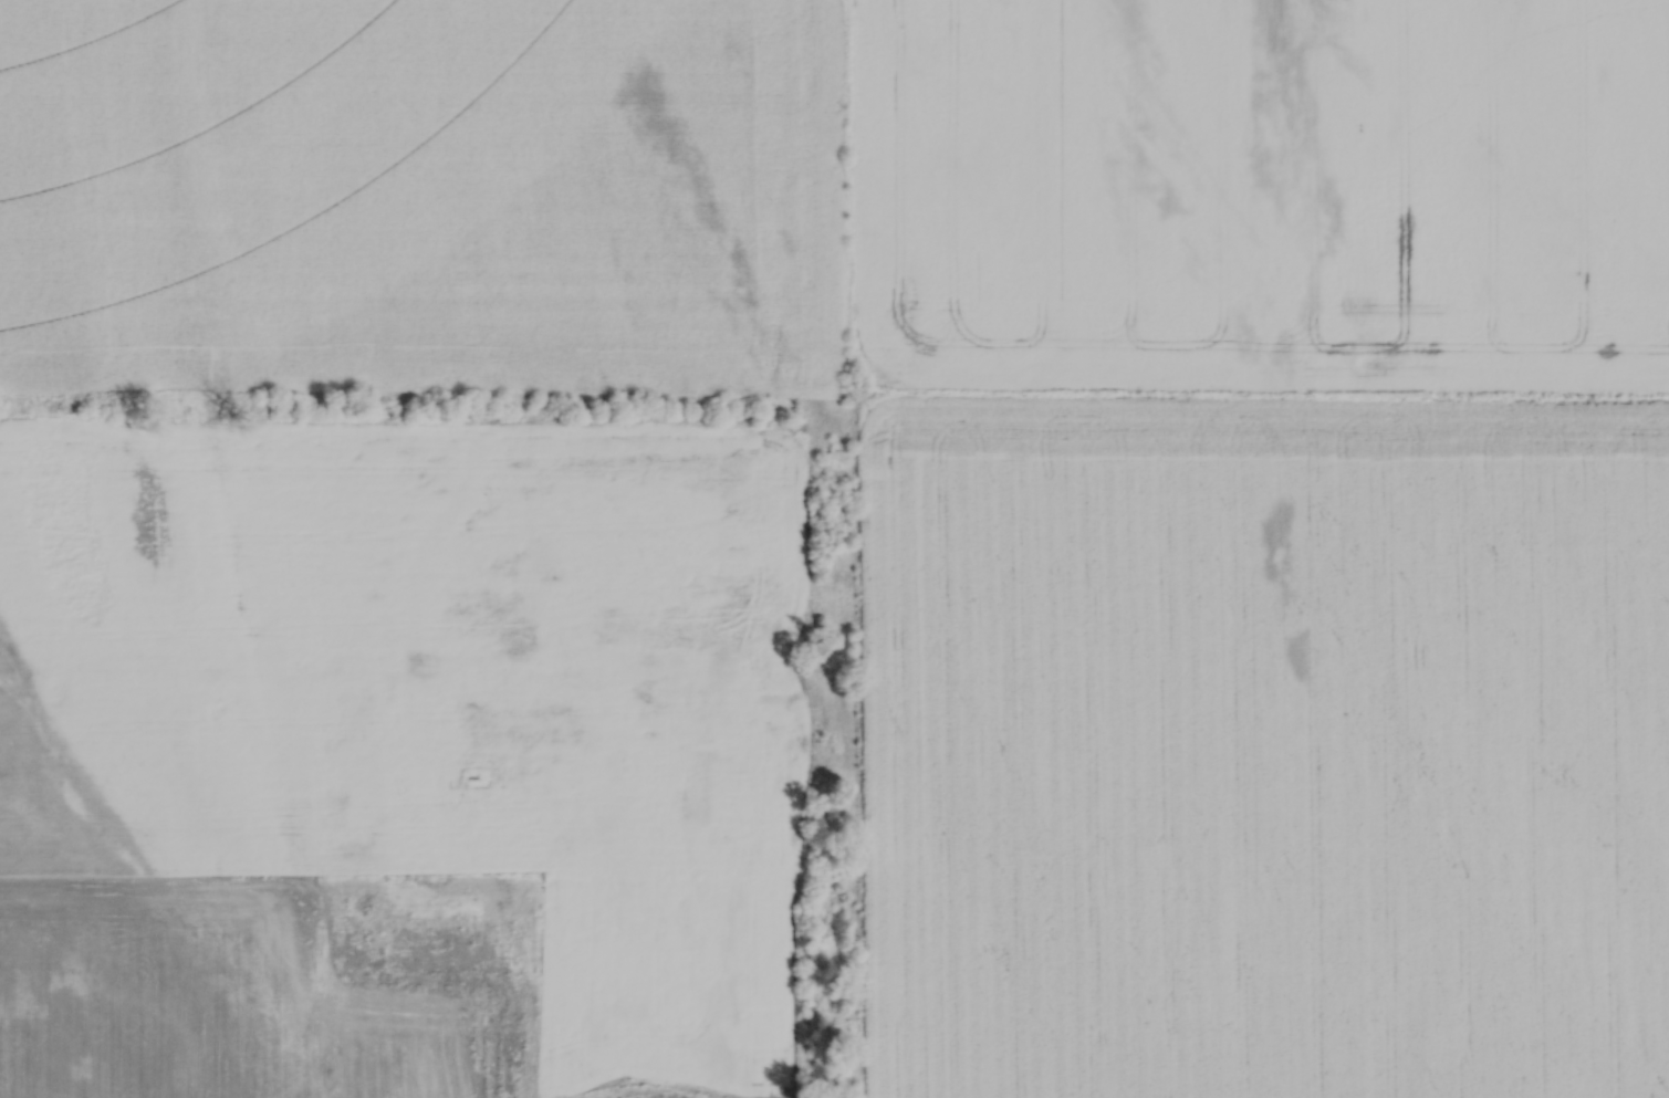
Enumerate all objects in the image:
crop: (1263, 744)

